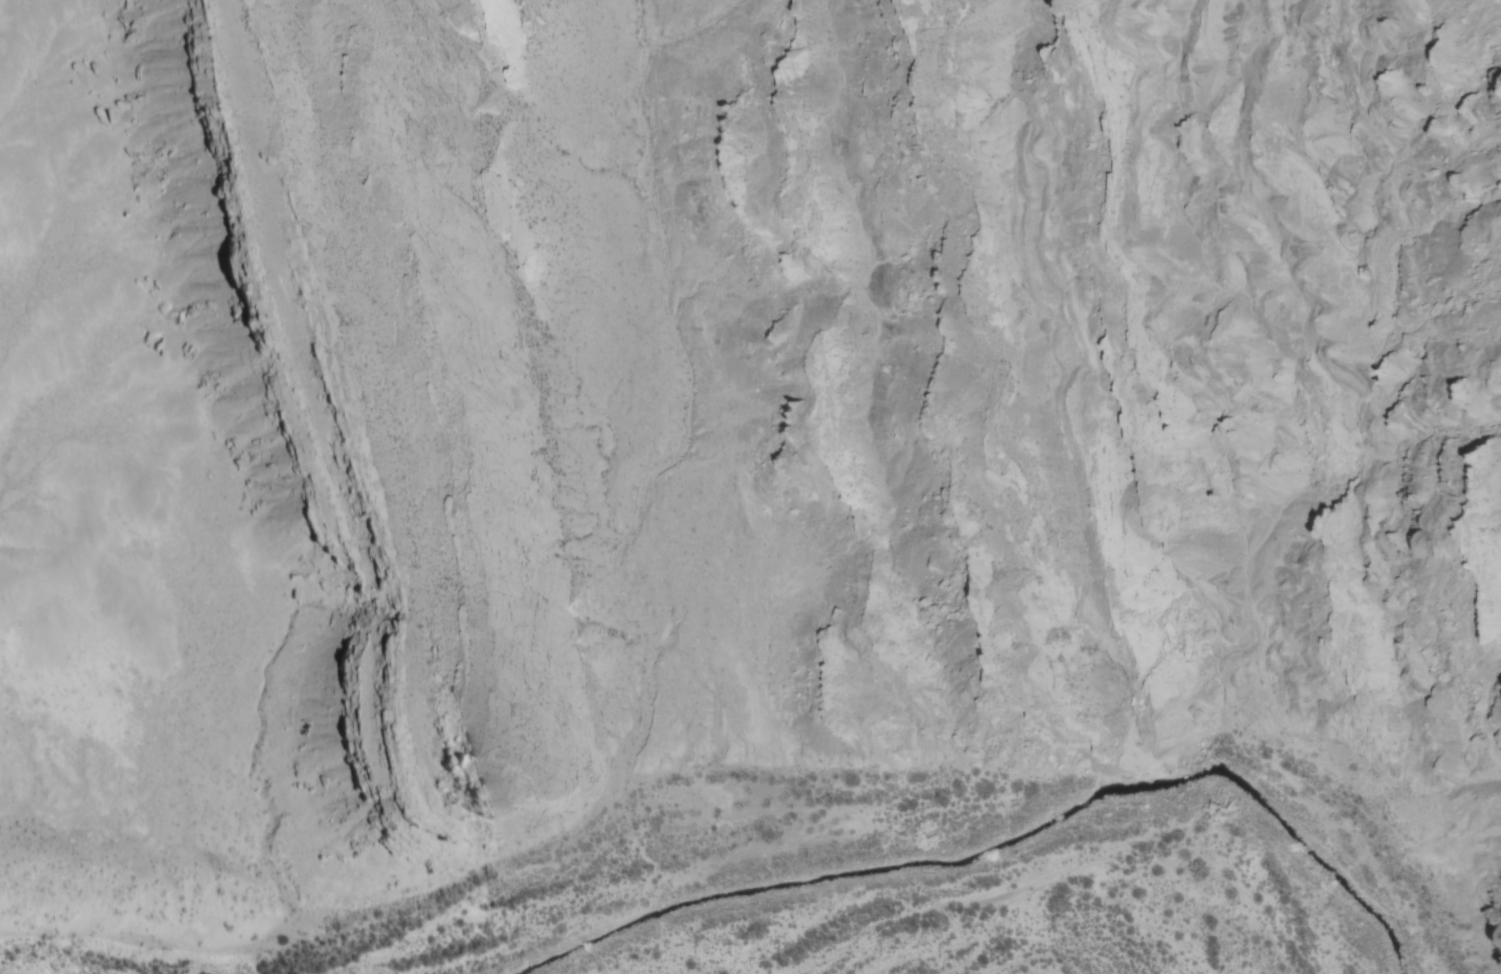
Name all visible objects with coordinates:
river: (1020, 845)

